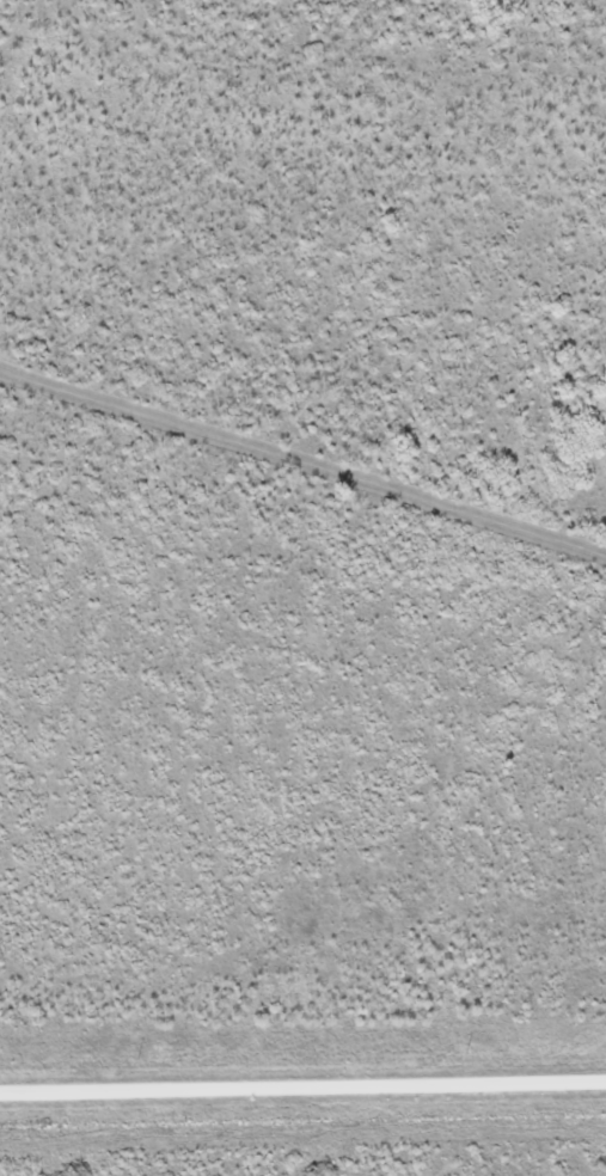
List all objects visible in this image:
road: (302, 1097)

